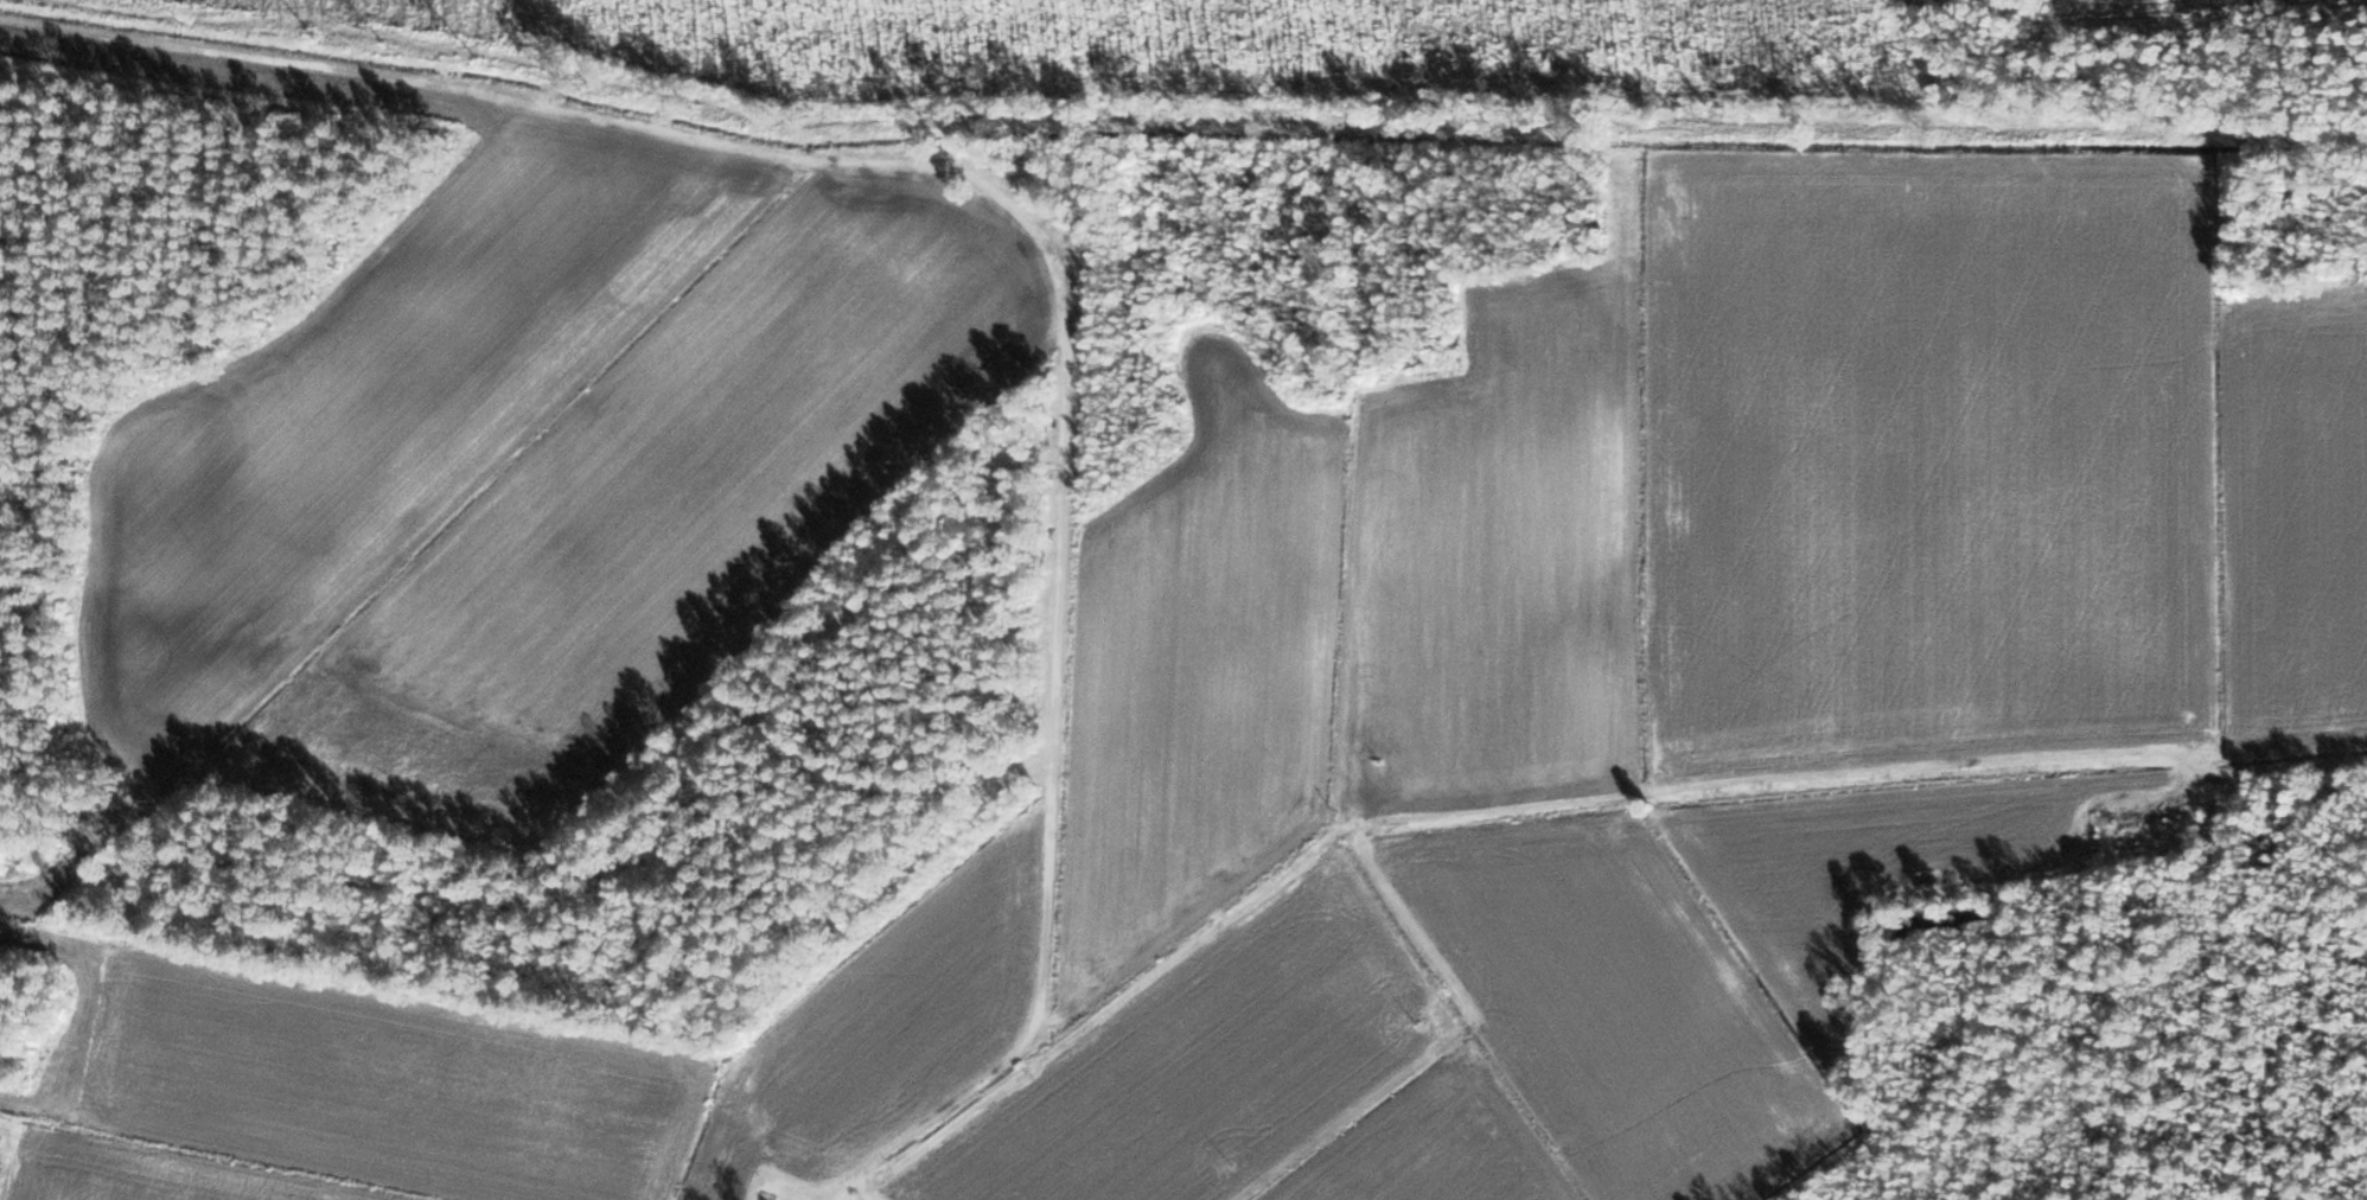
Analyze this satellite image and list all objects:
building: (2214, 822)

